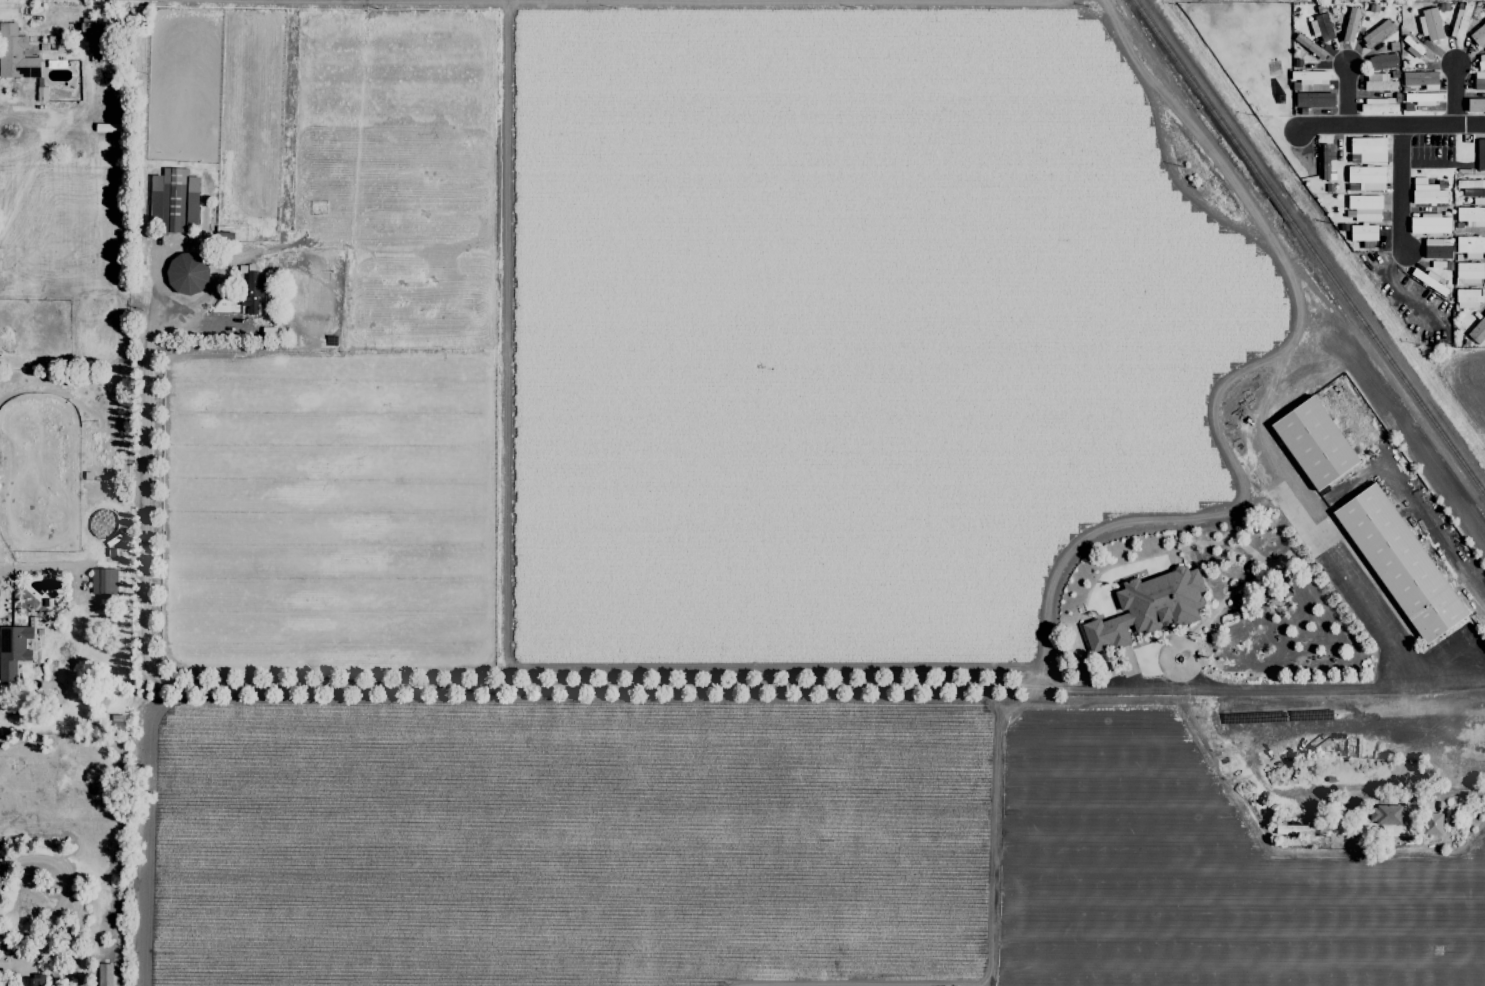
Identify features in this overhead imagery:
building: (1350, 24)
building: (1430, 24)
building: (1321, 28)
building: (94, 33)
building: (1376, 33)
building: (1478, 35)
building: (1412, 47)
building: (15, 54)
building: (1481, 61)
building: (1381, 62)
building: (1419, 78)
building: (1311, 79)
building: (1479, 80)
building: (1378, 82)
road: (1348, 96)
road: (1457, 96)
building: (1423, 98)
building: (1313, 100)
building: (1475, 105)
building: (1378, 106)
road: (1392, 128)
building: (1367, 150)
building: (1480, 154)
building: (1327, 162)
building: (1366, 177)
building: (1471, 187)
road: (1402, 191)
building: (1426, 192)
building: (173, 200)
building: (1365, 207)
building: (1471, 216)
building: (1429, 224)
building: (1363, 235)
railway: (1311, 244)
building: (1470, 246)
building: (1437, 248)
building: (1468, 273)
building: (186, 274)
building: (252, 293)
building: (1467, 299)
building: (1477, 331)
building: (1314, 443)
building: (1399, 563)
road: (51, 565)
building: (103, 581)
building: (1147, 608)
road: (1375, 613)
building: (12, 650)
road: (603, 688)
road: (1399, 787)
building: (1384, 815)
building: (1431, 824)
building: (1302, 830)
road: (60, 898)
building: (104, 974)
building: (31, 980)

